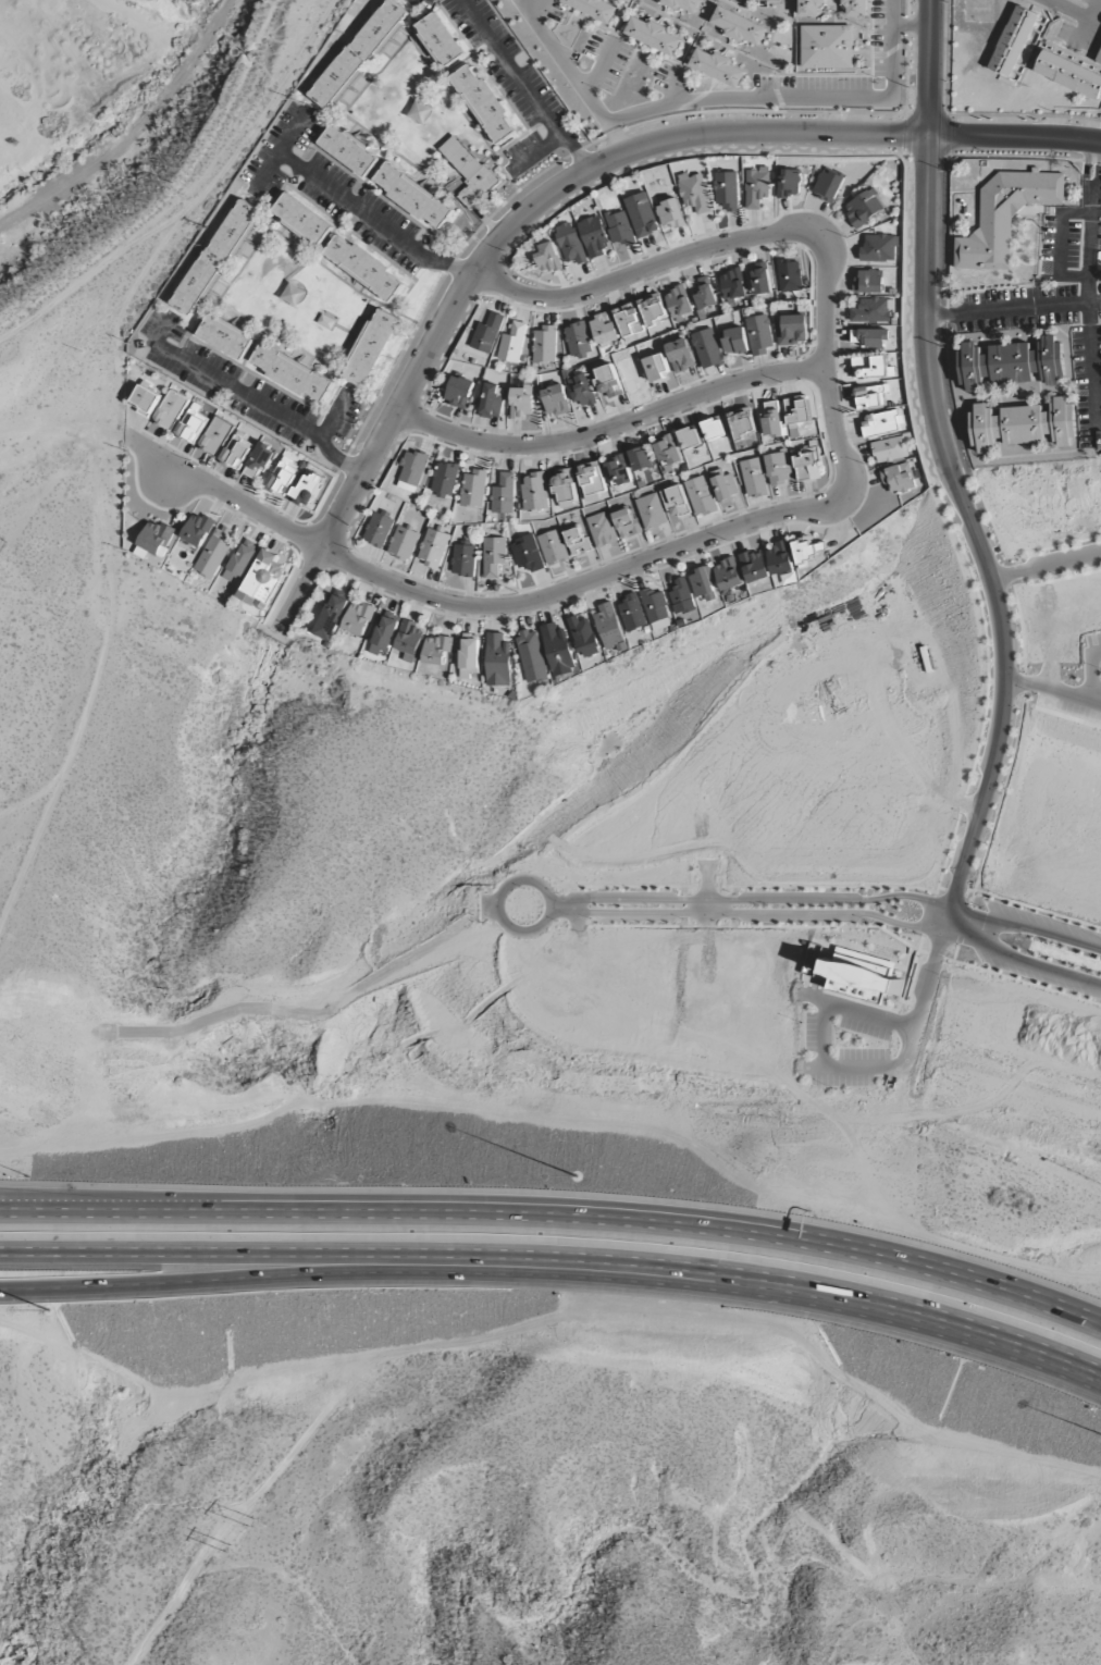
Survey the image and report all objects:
building: (683, 5)
building: (595, 8)
road: (537, 9)
building: (813, 9)
building: (855, 9)
road: (1064, 10)
road: (1085, 21)
road: (912, 26)
building: (739, 27)
building: (655, 35)
building: (440, 40)
building: (1014, 41)
building: (828, 47)
road: (893, 50)
building: (358, 53)
building: (1099, 58)
road: (599, 66)
building: (718, 66)
road: (929, 66)
park: (84, 73)
building: (1067, 74)
road: (572, 76)
road: (523, 86)
road: (676, 89)
road: (747, 98)
building: (484, 103)
road: (861, 118)
road: (1015, 136)
road: (907, 144)
road: (947, 145)
road: (280, 148)
building: (349, 150)
road: (534, 155)
road: (905, 156)
road: (949, 158)
road: (1090, 161)
road: (1087, 164)
road: (1096, 165)
road: (948, 168)
building: (469, 171)
building: (789, 184)
building: (828, 186)
building: (756, 187)
building: (726, 190)
building: (695, 193)
building: (413, 196)
building: (862, 209)
building: (670, 213)
building: (642, 214)
building: (1004, 217)
building: (302, 220)
road: (372, 221)
building: (619, 229)
road: (770, 232)
road: (502, 234)
building: (593, 237)
building: (570, 243)
road: (1059, 246)
building: (879, 248)
building: (546, 257)
building: (217, 258)
road: (505, 260)
building: (364, 268)
road: (496, 270)
road: (601, 271)
building: (789, 275)
building: (759, 280)
building: (868, 282)
building: (732, 285)
building: (704, 293)
building: (679, 304)
building: (653, 309)
building: (870, 310)
road: (1014, 310)
road: (945, 316)
road: (1088, 318)
building: (629, 321)
building: (605, 329)
building: (793, 330)
building: (487, 333)
building: (758, 335)
building: (226, 336)
building: (869, 337)
building: (578, 340)
building: (734, 341)
building: (512, 343)
building: (544, 345)
building: (370, 348)
building: (707, 349)
building: (681, 355)
building: (1012, 365)
building: (869, 367)
building: (292, 373)
building: (609, 382)
building: (582, 391)
building: (459, 392)
road: (246, 397)
building: (870, 397)
building: (146, 400)
building: (555, 400)
building: (492, 402)
building: (521, 402)
building: (171, 409)
building: (796, 411)
road: (333, 416)
building: (772, 420)
building: (742, 423)
building: (881, 423)
building: (191, 424)
building: (1023, 424)
road: (608, 428)
building: (715, 432)
building: (215, 435)
building: (690, 437)
building: (889, 449)
building: (667, 451)
building: (236, 452)
building: (641, 458)
building: (260, 460)
building: (807, 465)
building: (778, 469)
building: (413, 471)
building: (617, 471)
building: (282, 477)
building: (753, 478)
building: (898, 478)
building: (445, 479)
building: (592, 481)
building: (725, 488)
building: (307, 489)
building: (473, 489)
building: (565, 490)
road: (978, 490)
building: (534, 492)
building: (504, 494)
building: (700, 496)
building: (676, 499)
building: (651, 511)
building: (626, 523)
building: (379, 528)
building: (197, 530)
building: (602, 530)
road: (976, 536)
building: (154, 540)
building: (577, 541)
building: (403, 543)
building: (553, 547)
building: (434, 548)
building: (807, 550)
building: (528, 552)
building: (214, 553)
building: (493, 556)
building: (463, 560)
road: (1017, 560)
building: (242, 562)
building: (781, 563)
road: (1046, 565)
road: (333, 566)
building: (754, 566)
road: (321, 568)
road: (1019, 571)
building: (728, 575)
building: (264, 578)
road: (1057, 580)
building: (703, 583)
building: (681, 597)
building: (655, 605)
road: (474, 606)
building: (631, 613)
building: (331, 617)
building: (358, 618)
building: (608, 626)
road: (1019, 626)
building: (384, 634)
building: (584, 637)
building: (410, 638)
parking lot: (1094, 643)
building: (557, 650)
building: (435, 651)
building: (531, 657)
building: (469, 658)
building: (497, 661)
road: (1092, 673)
road: (1024, 684)
road: (1054, 689)
parking lot: (1068, 701)
road: (1000, 801)
road: (962, 804)
road: (947, 854)
road: (716, 878)
road: (694, 885)
road: (705, 885)
road: (647, 887)
road: (815, 888)
road: (508, 889)
road: (941, 889)
road: (688, 891)
road: (966, 891)
road: (729, 892)
road: (954, 892)
road: (707, 893)
road: (841, 900)
road: (562, 906)
road: (688, 908)
road: (729, 908)
road: (1037, 909)
road: (842, 912)
road: (928, 915)
road: (576, 918)
road: (688, 923)
road: (729, 923)
road: (963, 926)
road: (580, 927)
road: (641, 927)
road: (705, 927)
road: (824, 927)
road: (919, 942)
road: (954, 952)
road: (935, 955)
building: (846, 971)
road: (1022, 982)
road: (923, 1001)
road: (857, 1011)
road: (826, 1036)
road: (854, 1069)
road: (557, 1218)
road: (557, 1257)
road: (191, 1271)

